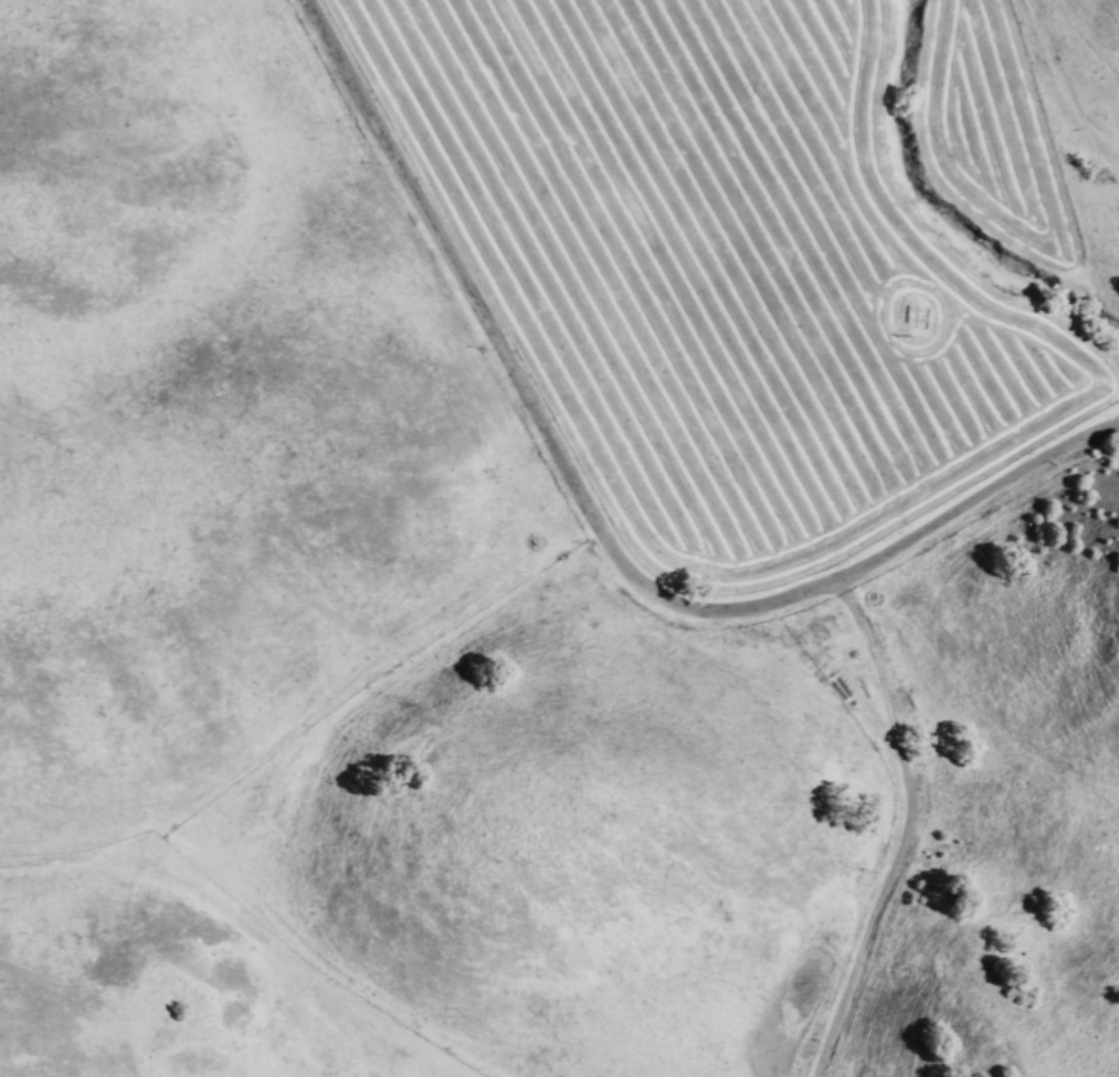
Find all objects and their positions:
crop: (773, 246)
road: (585, 534)
road: (1011, 730)
road: (889, 827)

